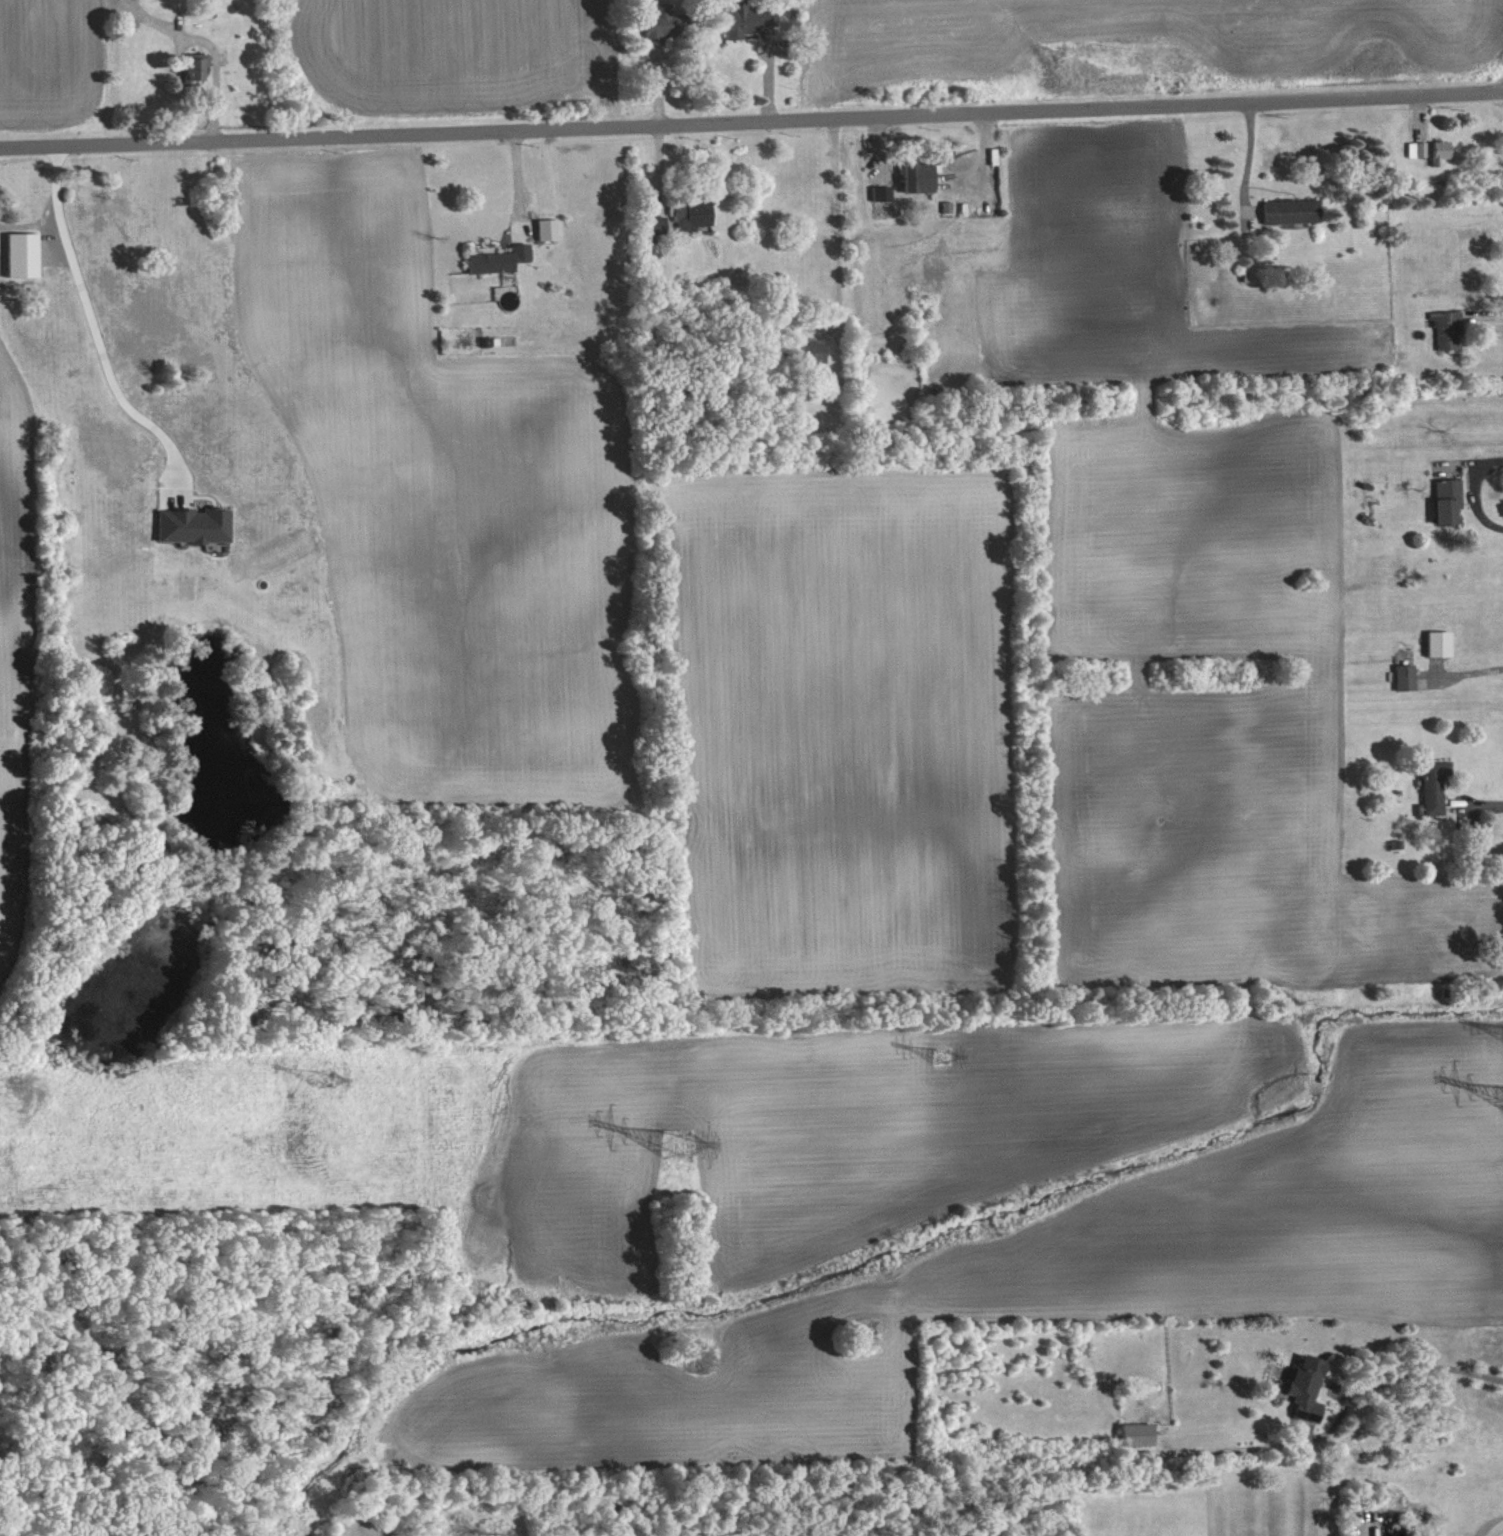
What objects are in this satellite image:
building: (750, 19)
building: (668, 24)
crop: (1133, 48)
building: (199, 67)
road: (1416, 117)
road: (751, 120)
building: (1415, 148)
building: (1439, 150)
road: (1247, 165)
building: (921, 178)
building: (886, 194)
road: (1253, 210)
building: (1289, 210)
building: (695, 216)
road: (31, 227)
building: (551, 230)
road: (835, 232)
building: (658, 235)
building: (26, 255)
building: (502, 260)
road: (1481, 314)
road: (96, 320)
building: (1445, 327)
building: (817, 352)
road: (1465, 459)
road: (1474, 492)
building: (1445, 499)
building: (198, 526)
crop: (1175, 580)
building: (1443, 644)
road: (1477, 668)
building: (1409, 678)
building: (1438, 786)
power tower: (939, 1055)
power tower: (324, 1076)
power tower: (673, 1146)
road: (1399, 1375)
building: (1310, 1389)
building: (1140, 1435)
road: (1489, 1524)

